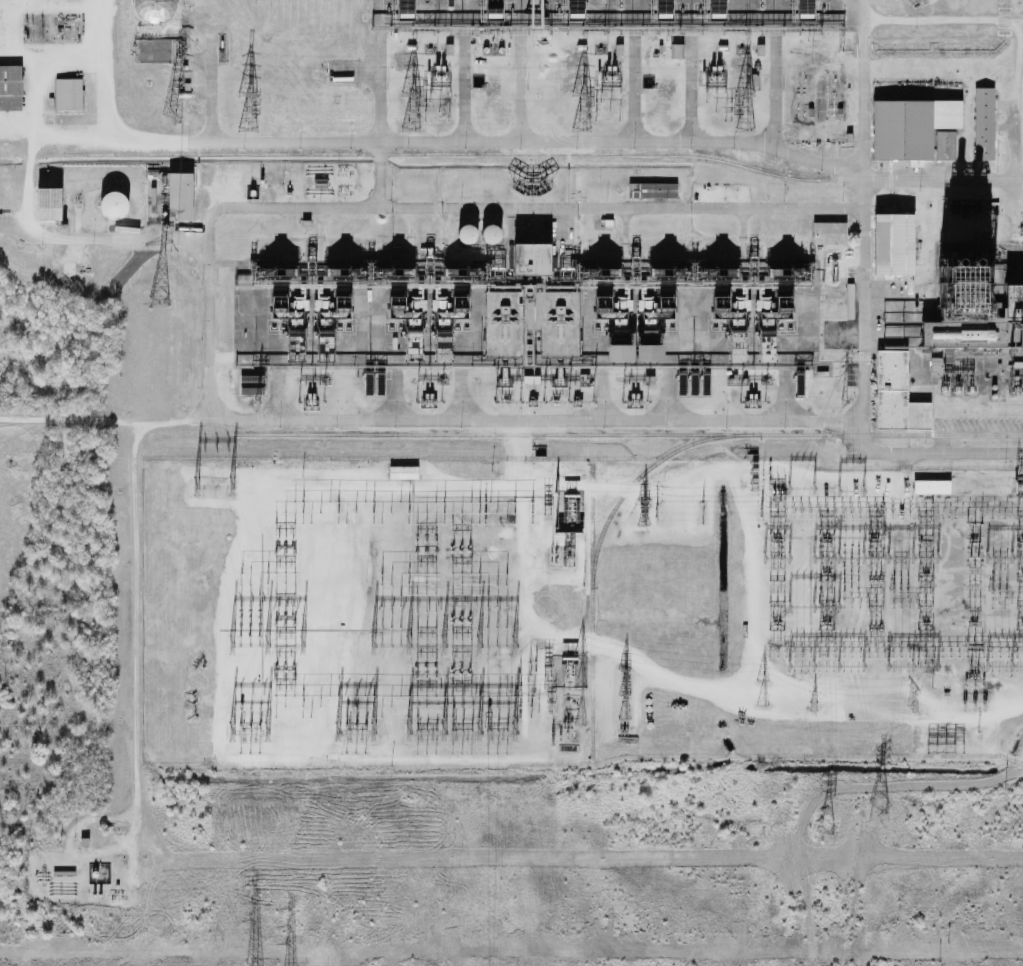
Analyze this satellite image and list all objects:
building: (911, 2)
road: (2, 3)
building: (622, 4)
building: (763, 4)
building: (668, 7)
building: (154, 10)
building: (498, 10)
building: (722, 10)
road: (940, 15)
road: (2, 26)
road: (4, 49)
building: (677, 51)
road: (28, 58)
road: (99, 74)
road: (349, 79)
road: (858, 84)
building: (10, 89)
road: (377, 95)
building: (68, 97)
road: (454, 98)
road: (514, 99)
road: (629, 99)
road: (685, 99)
road: (772, 99)
power tower: (172, 117)
building: (983, 126)
building: (910, 129)
building: (944, 146)
road: (101, 149)
railway: (1011, 179)
road: (945, 185)
building: (651, 192)
building: (180, 198)
building: (49, 205)
building: (113, 206)
road: (535, 210)
road: (143, 221)
road: (743, 227)
building: (830, 233)
road: (620, 238)
road: (312, 241)
road: (379, 242)
building: (896, 244)
road: (14, 245)
building: (531, 262)
chimney: (950, 263)
chimney: (967, 264)
road: (351, 273)
road: (526, 288)
road: (200, 289)
road: (994, 300)
power tower: (161, 304)
building: (964, 313)
building: (532, 315)
building: (1015, 319)
building: (504, 326)
building: (559, 326)
building: (335, 329)
building: (405, 329)
building: (452, 329)
building: (730, 329)
building: (288, 330)
building: (612, 330)
building: (776, 330)
building: (653, 331)
road: (858, 347)
road: (869, 357)
building: (936, 364)
building: (896, 395)
power tower: (258, 401)
road: (664, 403)
road: (780, 403)
power tower: (846, 403)
road: (388, 404)
road: (596, 404)
road: (270, 405)
road: (456, 405)
railway: (628, 436)
building: (404, 473)
power plant: (512, 474)
railway: (641, 474)
road: (934, 478)
building: (933, 487)
power tower: (656, 511)
power tower: (761, 511)
power substation: (578, 612)
railway: (591, 612)
road: (135, 616)
power tower: (814, 705)
power tower: (915, 705)
power tower: (878, 813)
power tower: (825, 833)
road: (36, 868)

